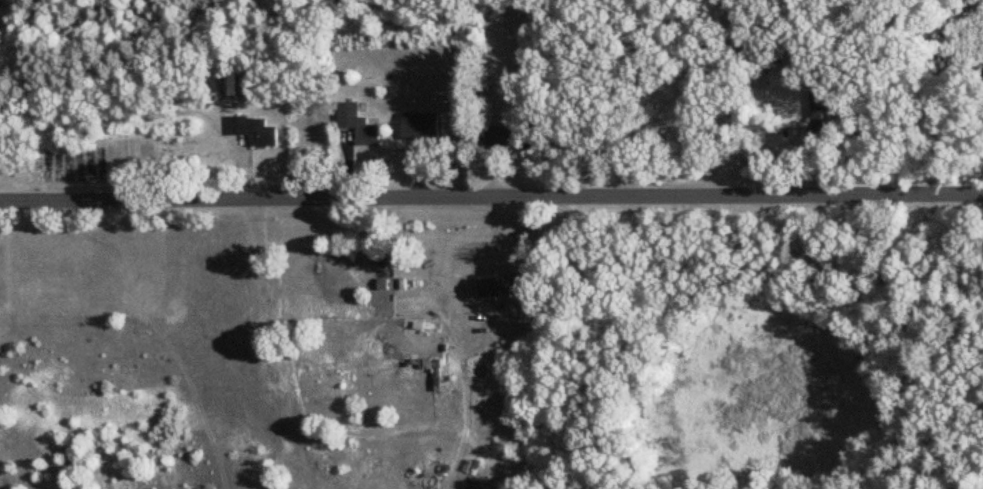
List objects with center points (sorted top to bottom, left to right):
building: (792, 58)
building: (238, 83)
building: (818, 116)
building: (739, 119)
building: (358, 125)
building: (422, 127)
building: (254, 131)
building: (509, 137)
road: (491, 196)
building: (505, 288)

